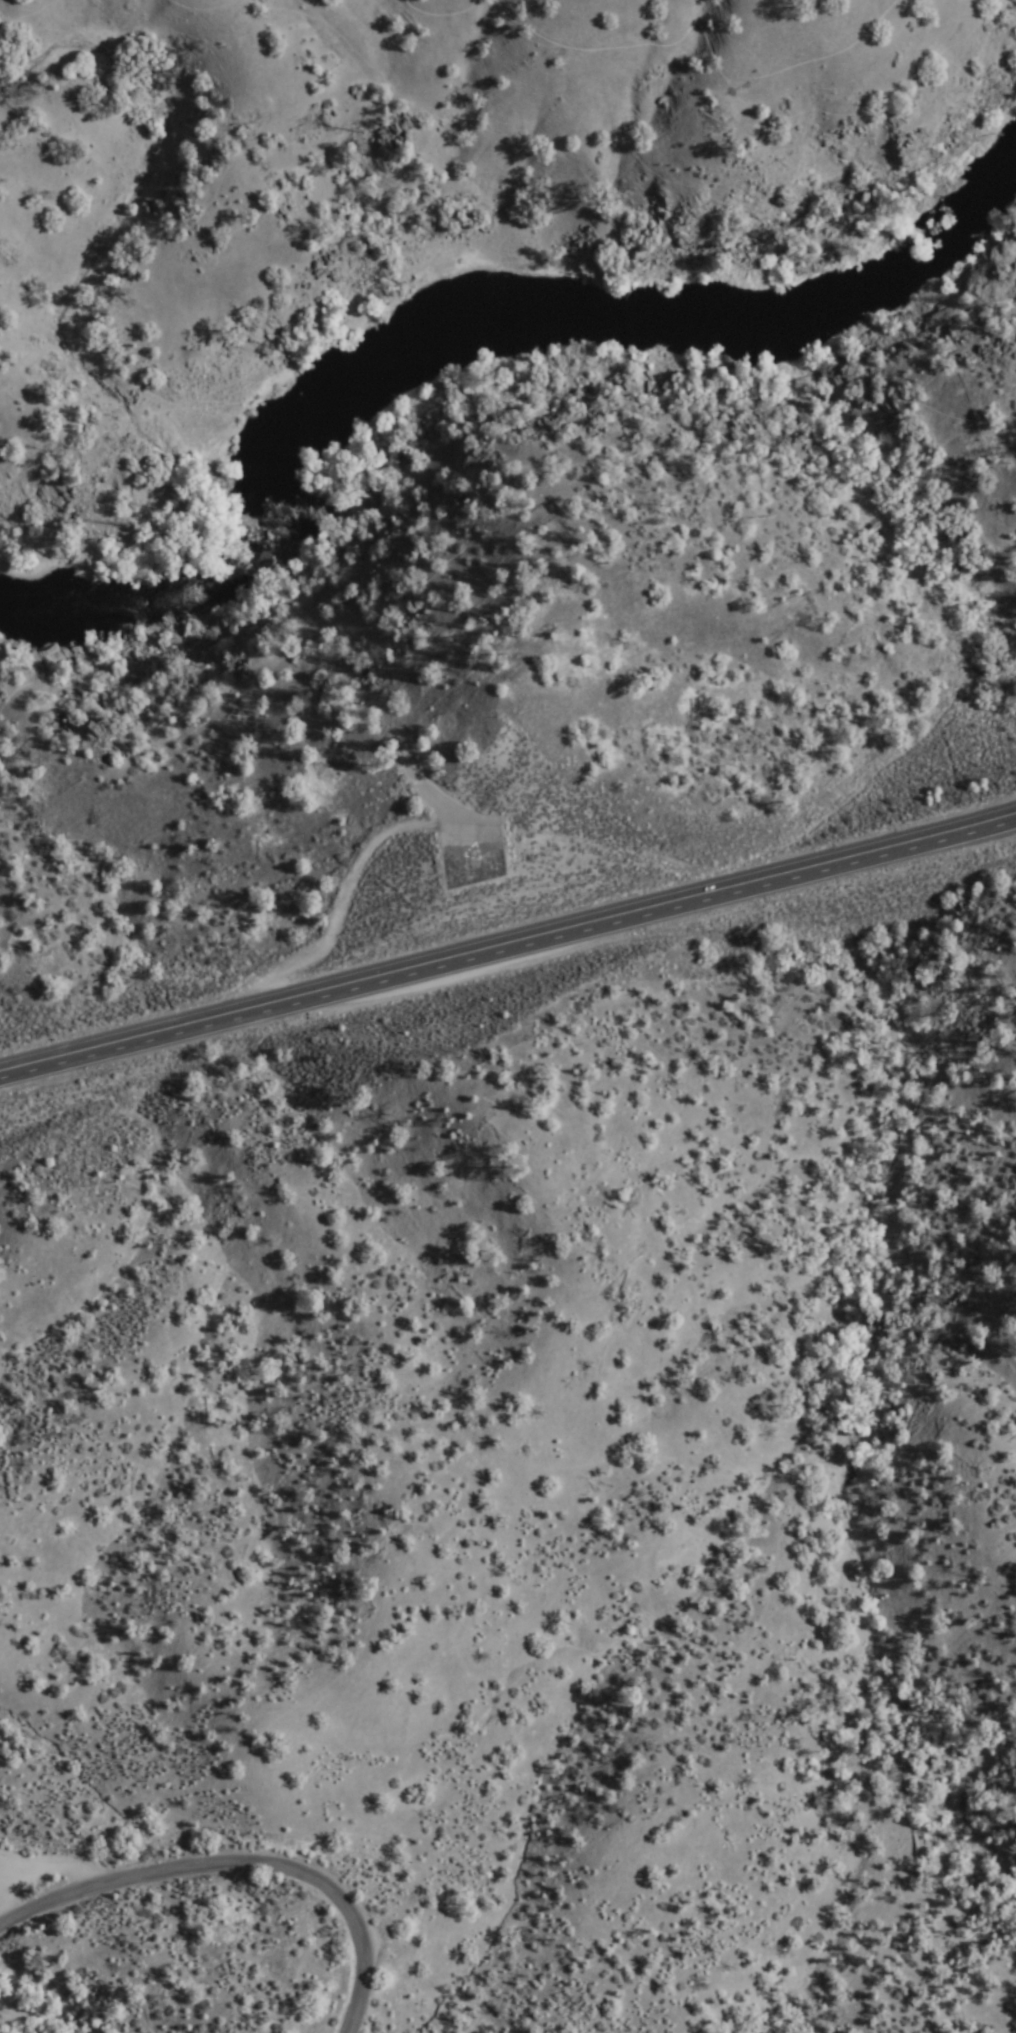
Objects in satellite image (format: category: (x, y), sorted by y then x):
road: (204, 7)
road: (440, 12)
road: (29, 15)
road: (707, 37)
river: (937, 247)
river: (834, 313)
river: (501, 327)
river: (136, 601)
road: (508, 943)
road: (239, 1868)

